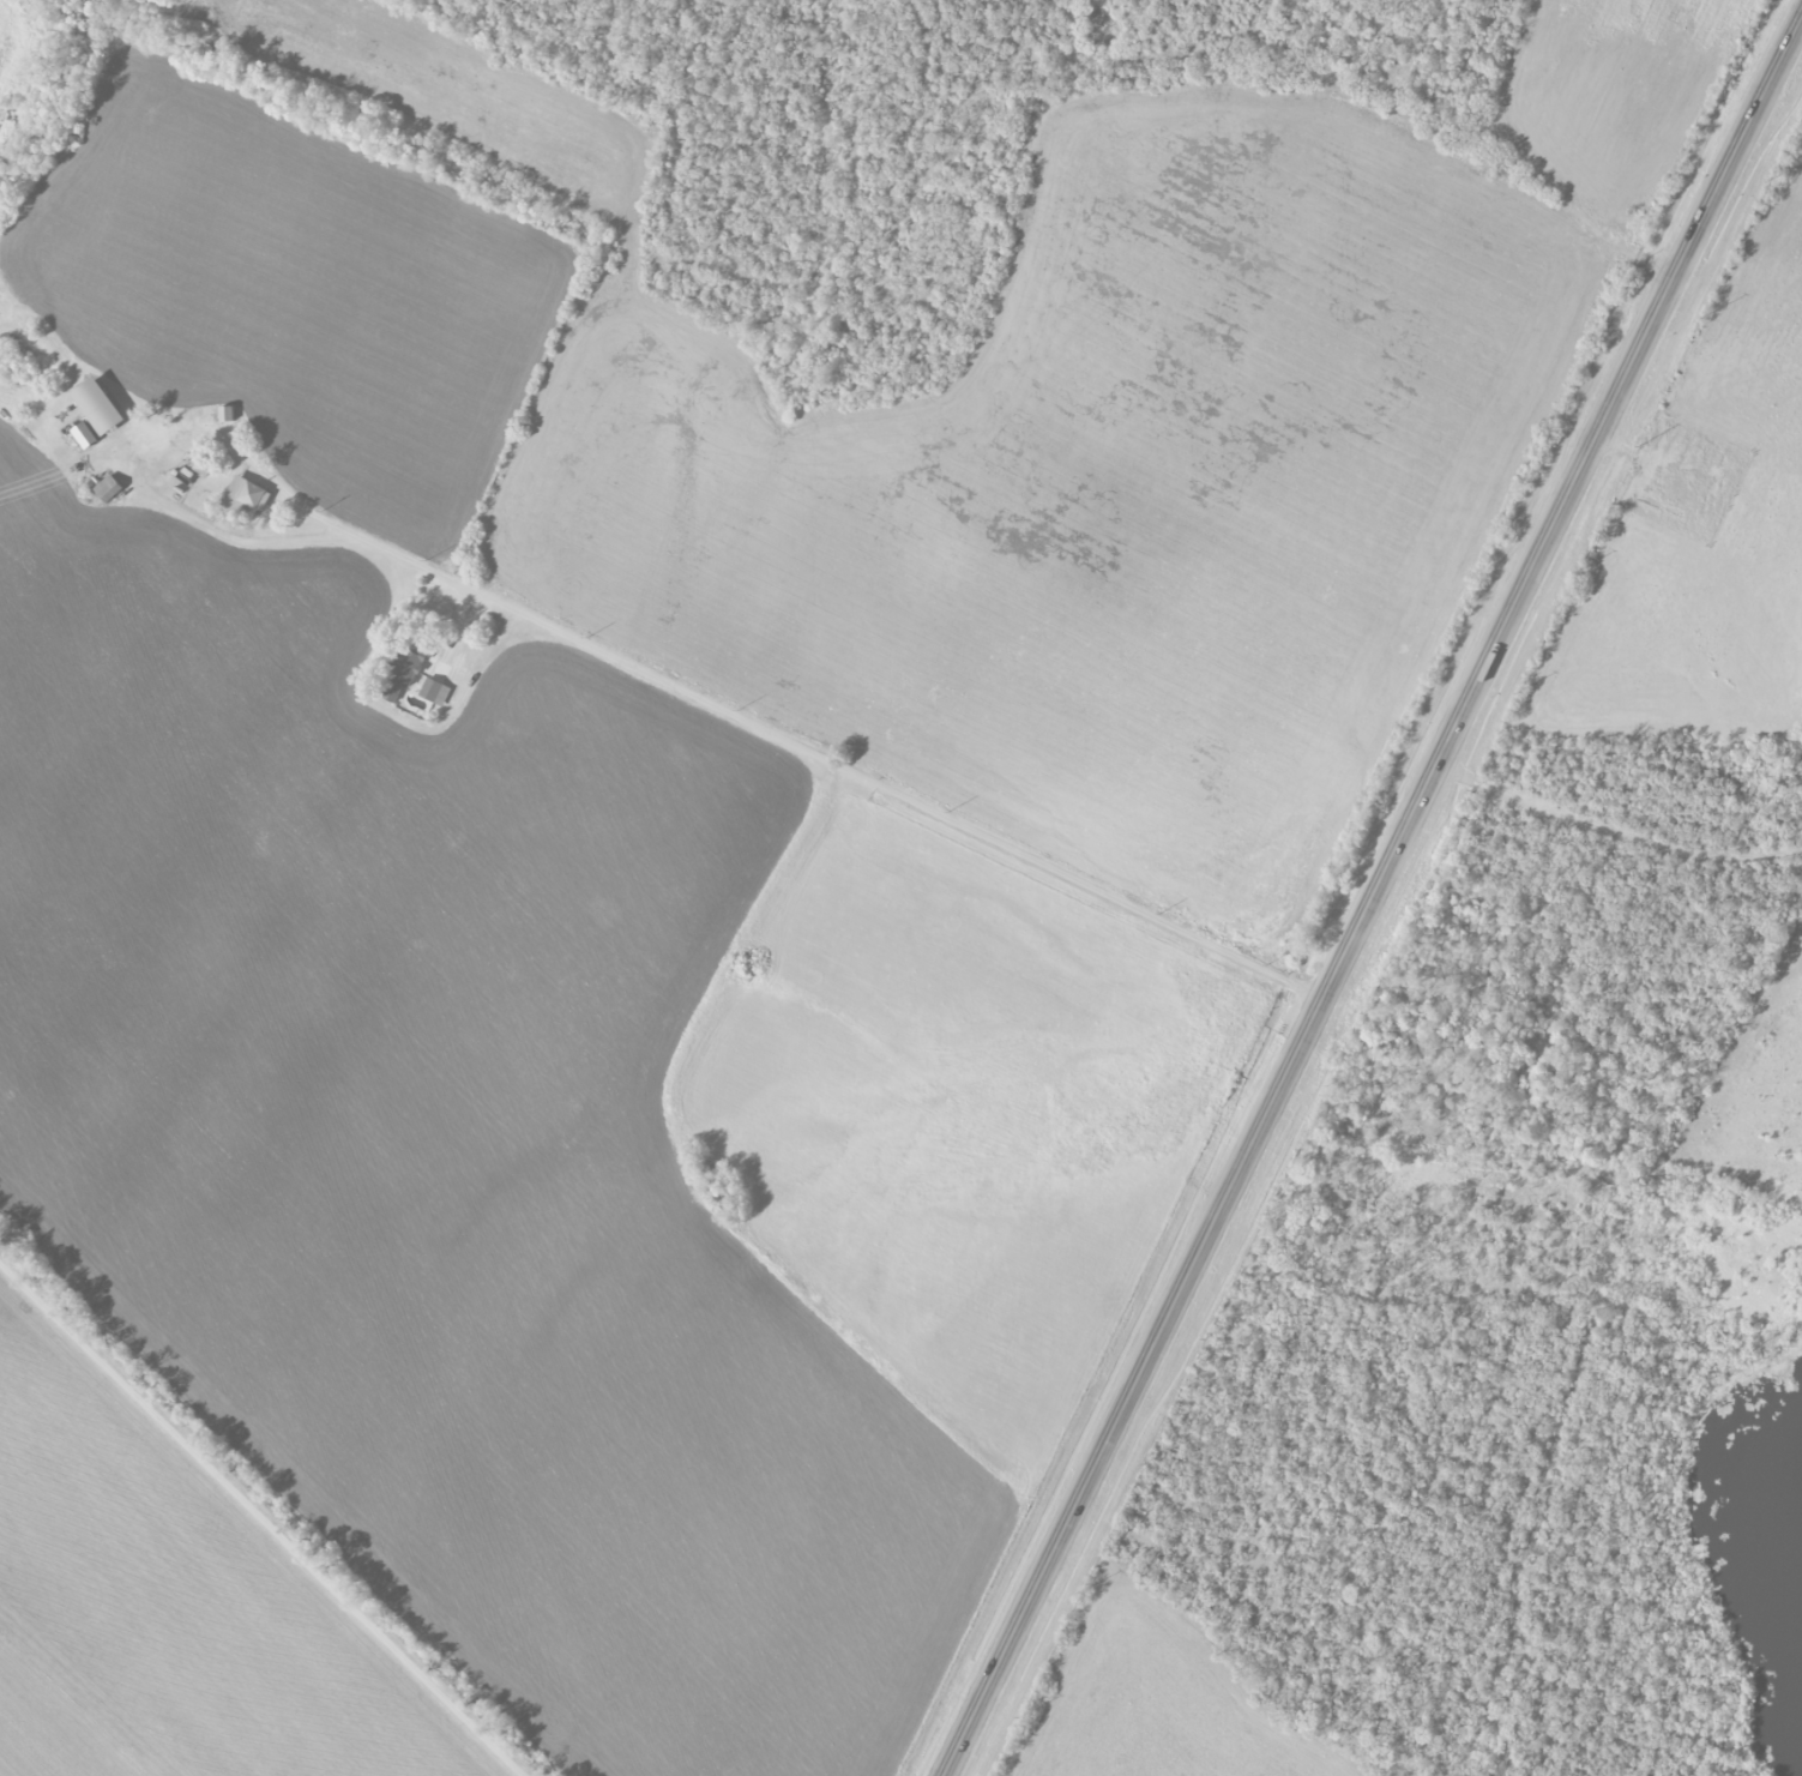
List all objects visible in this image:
building: (97, 407)
building: (84, 435)
building: (107, 488)
building: (243, 498)
building: (402, 673)
building: (433, 691)
road: (715, 709)
road: (1533, 802)
road: (1369, 897)
road: (261, 1518)

